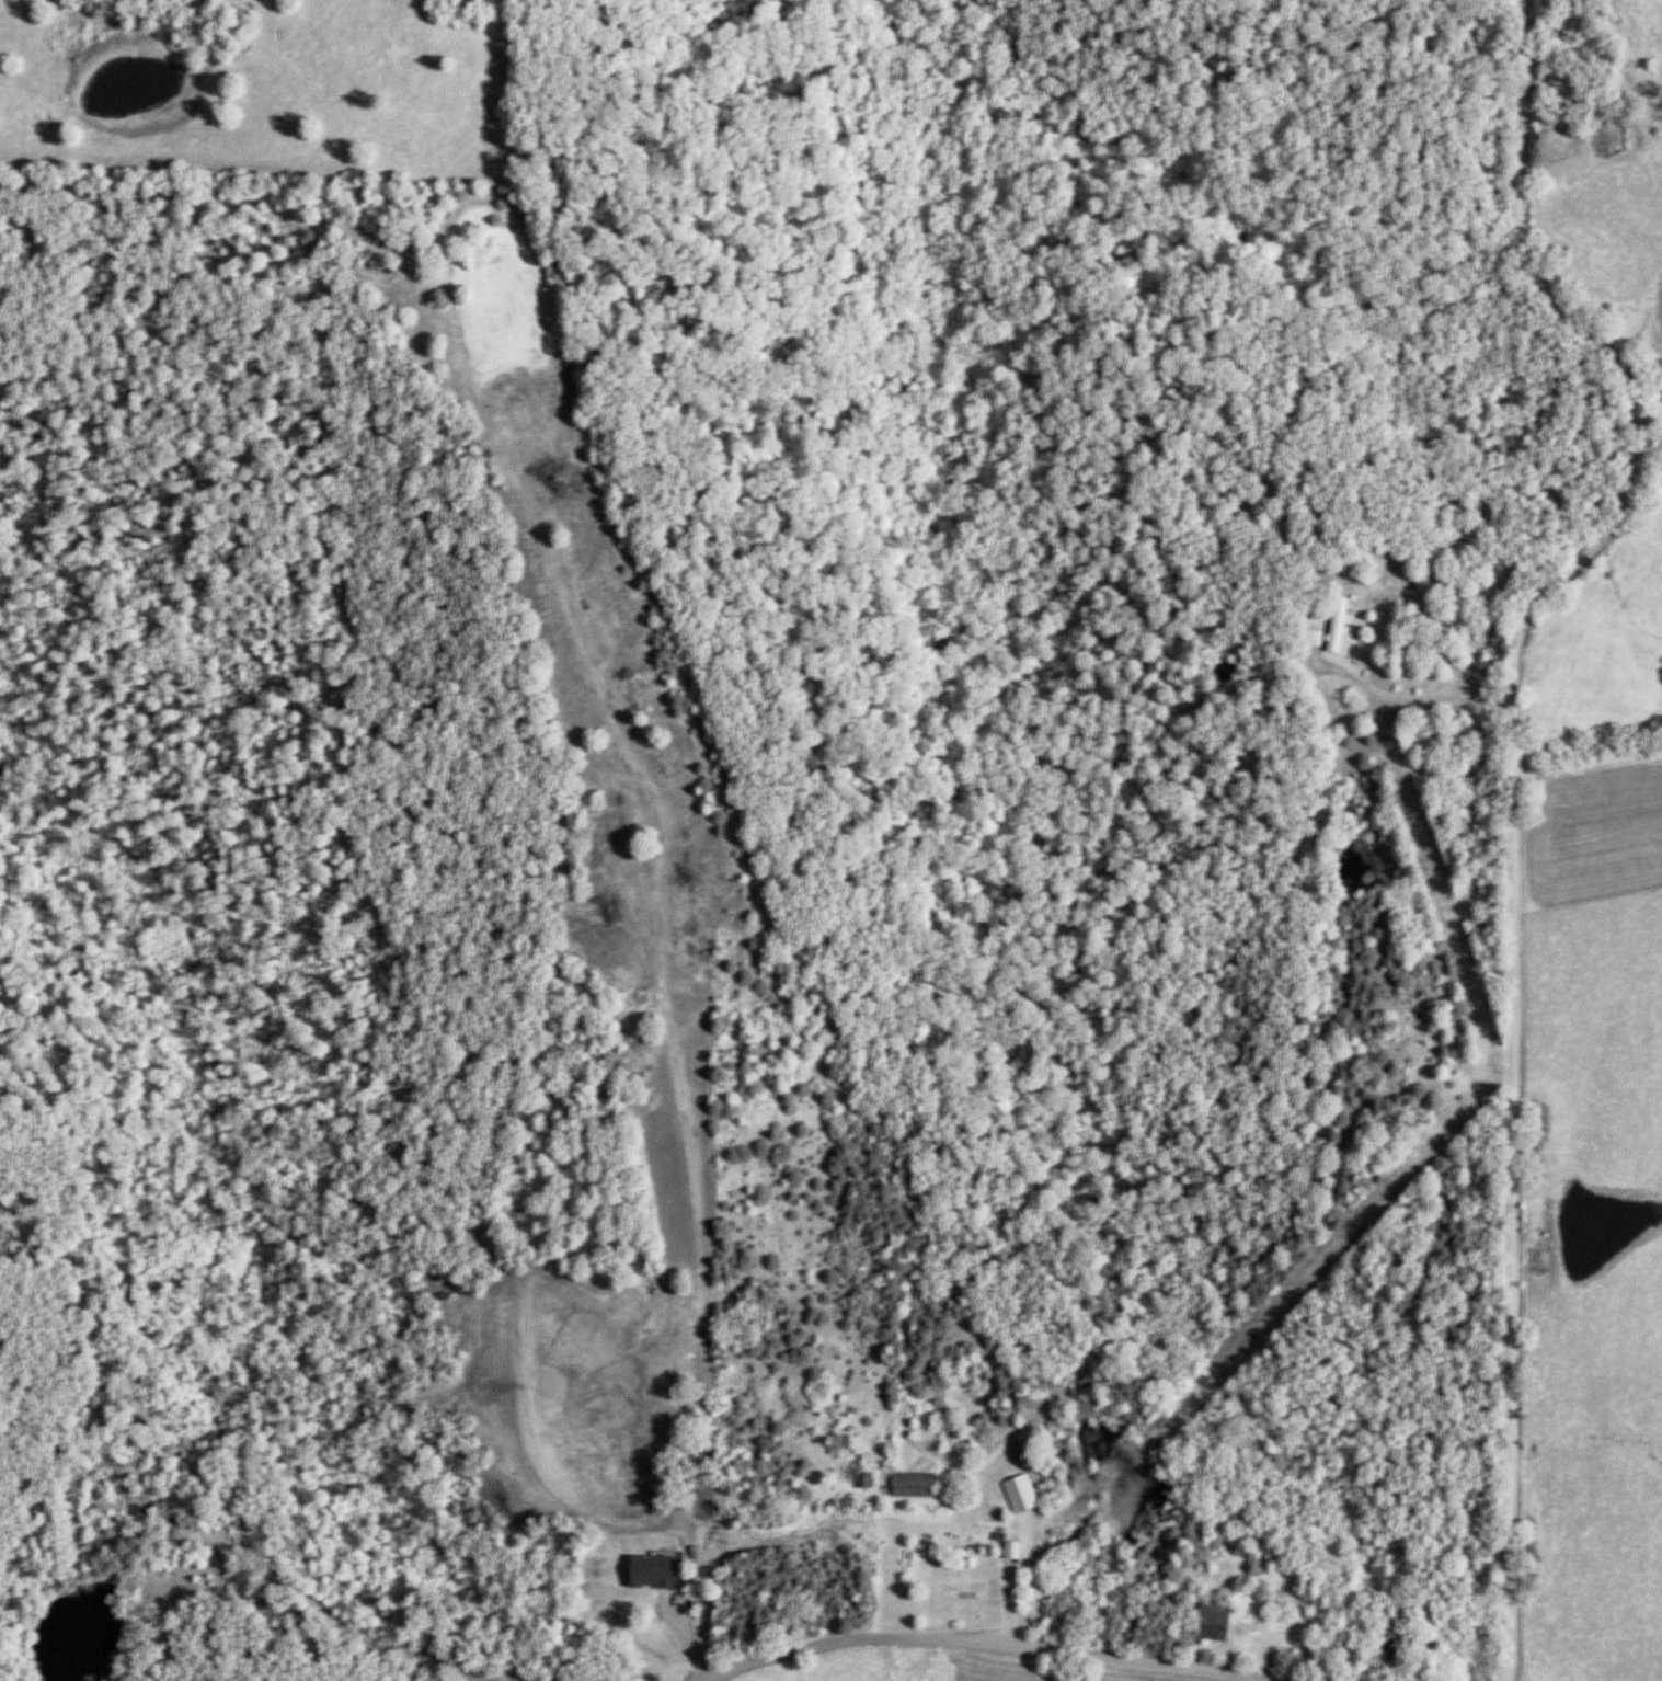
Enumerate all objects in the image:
building: (1332, 626)
building: (1336, 699)
road: (1589, 763)
road: (1515, 800)
building: (907, 1486)
building: (1015, 1494)
building: (646, 1573)
building: (955, 1589)
building: (1205, 1628)
road: (950, 1649)

